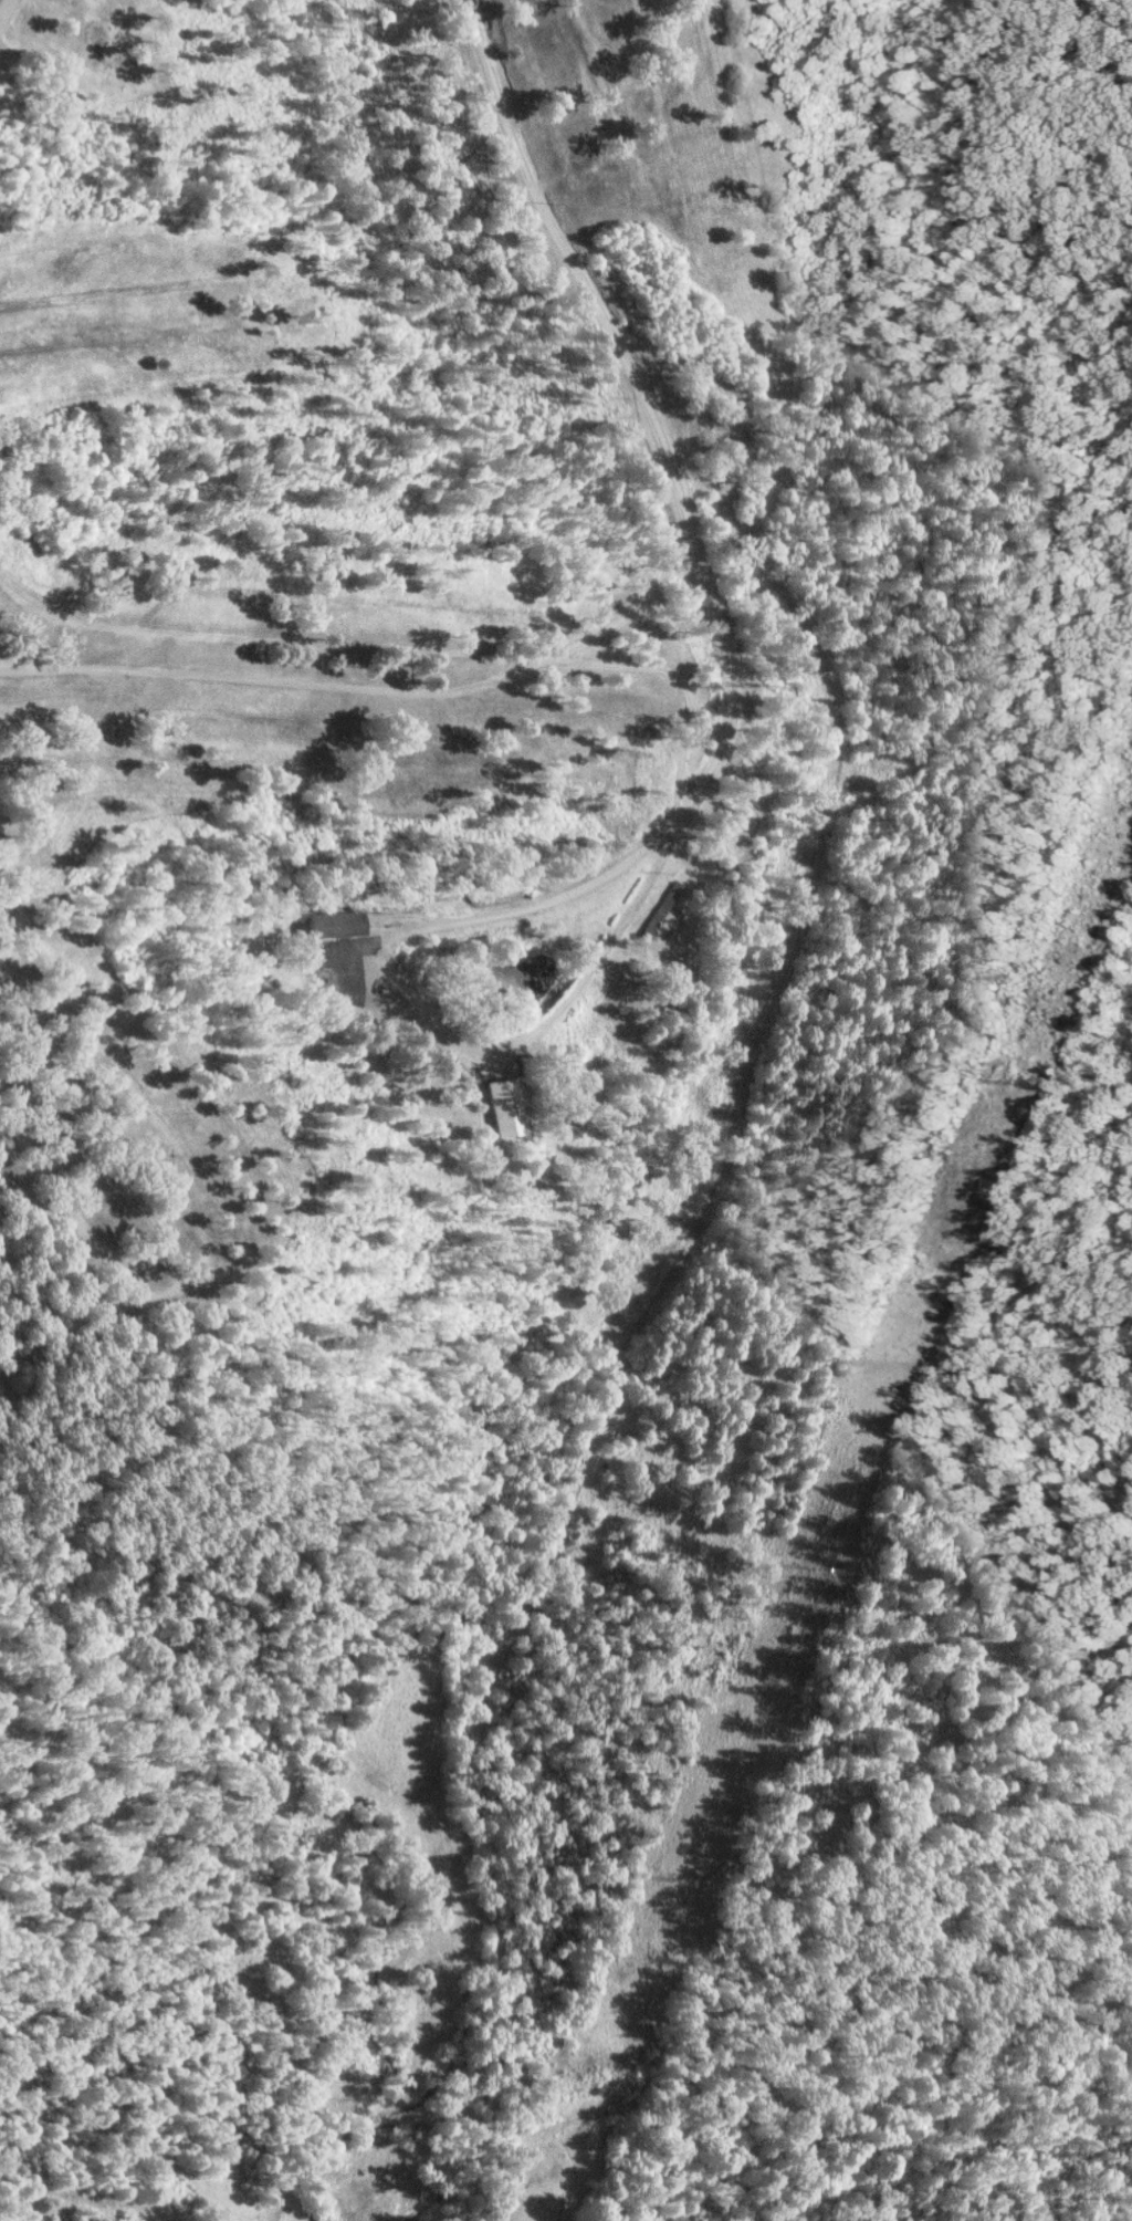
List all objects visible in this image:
road: (3, 6)
road: (104, 293)
road: (105, 337)
road: (648, 406)
road: (226, 636)
road: (347, 647)
road: (337, 653)
road: (628, 665)
road: (169, 671)
road: (396, 687)
road: (154, 708)
road: (502, 751)
road: (520, 765)
building: (524, 886)
building: (659, 907)
road: (411, 914)
building: (337, 924)
parking lot: (352, 971)
road: (381, 1008)
building: (503, 1105)
road: (180, 1244)

